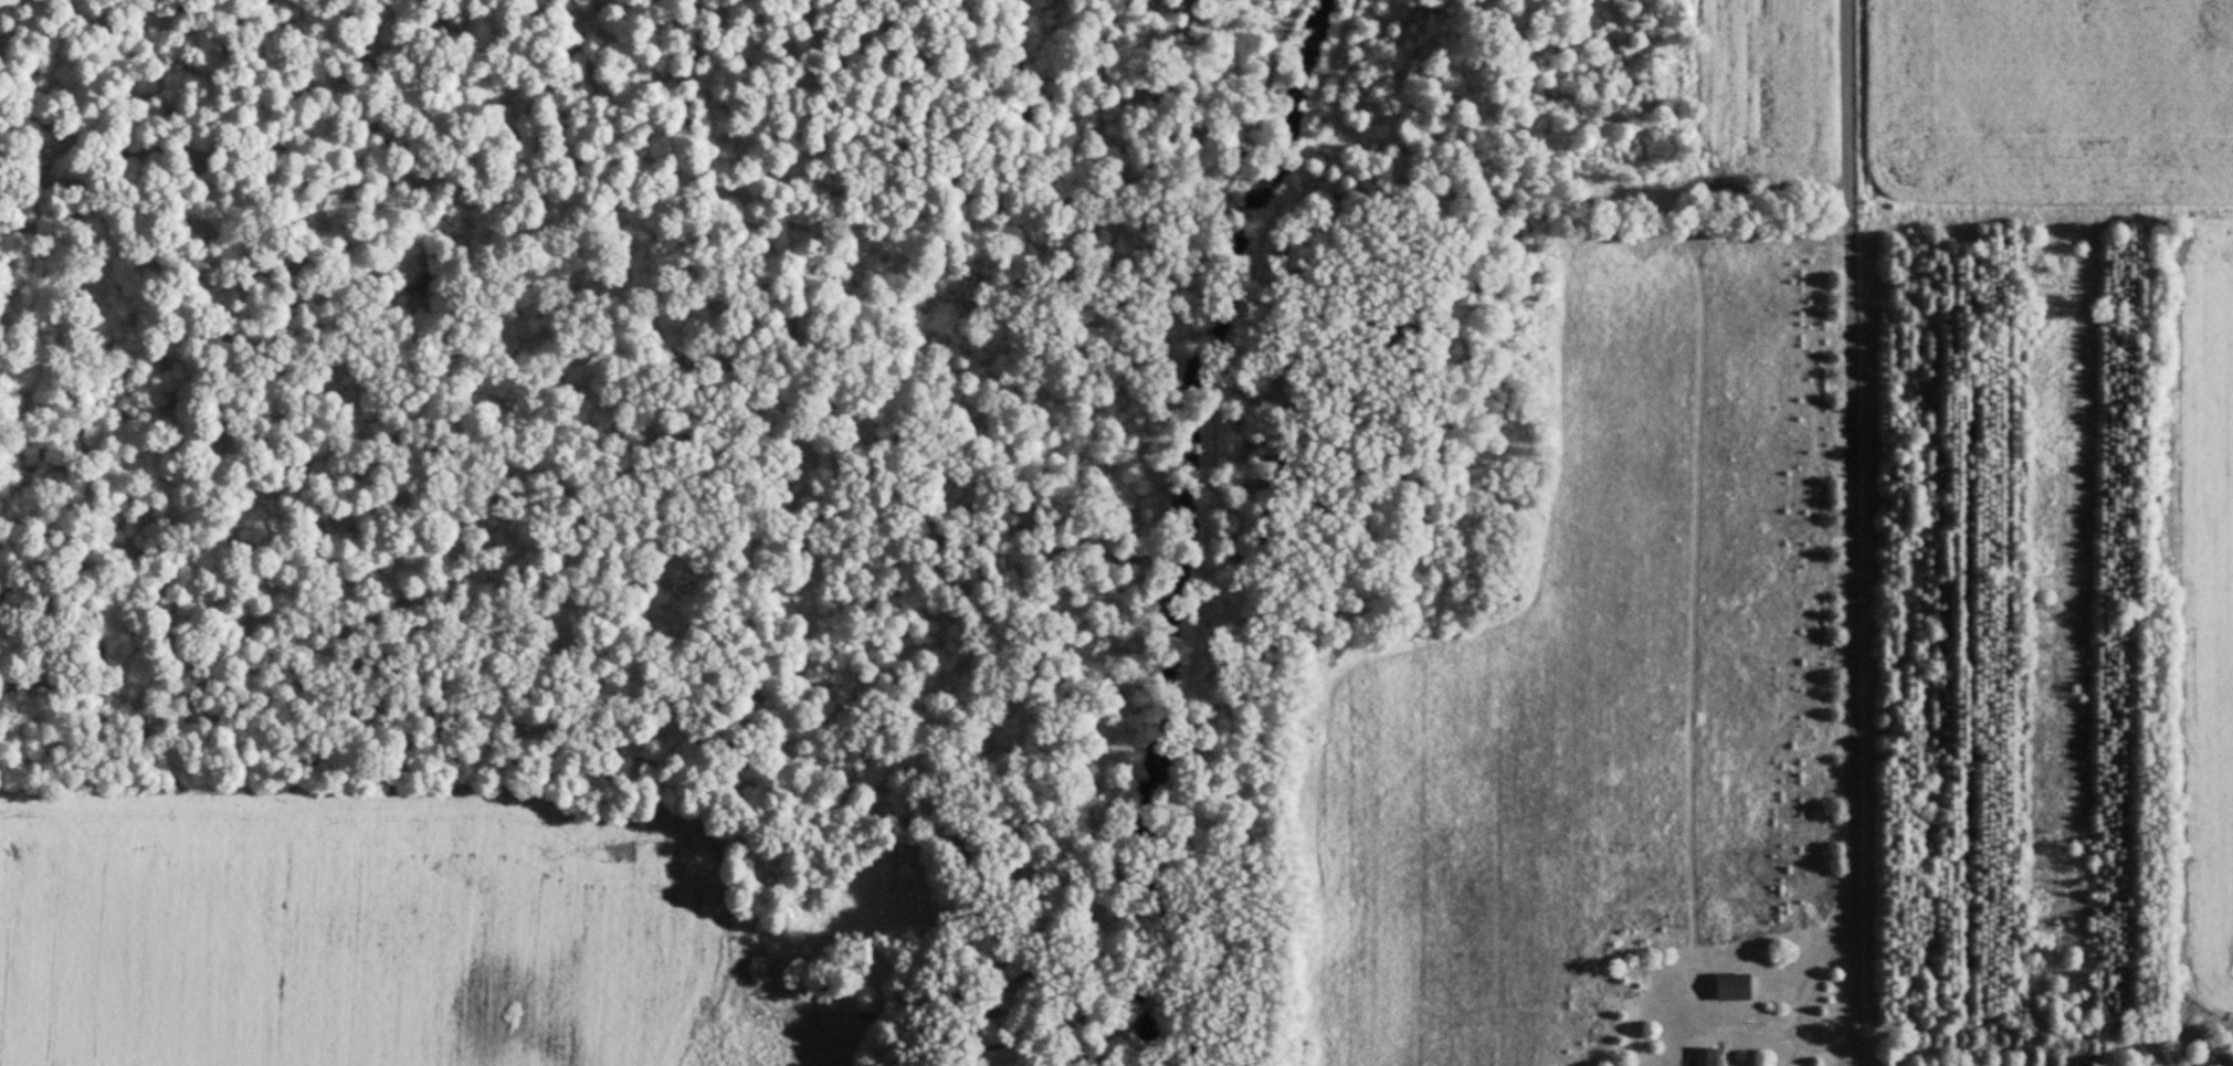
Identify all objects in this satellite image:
road: (1856, 532)
building: (1727, 989)
road: (1807, 990)
building: (1702, 1057)

